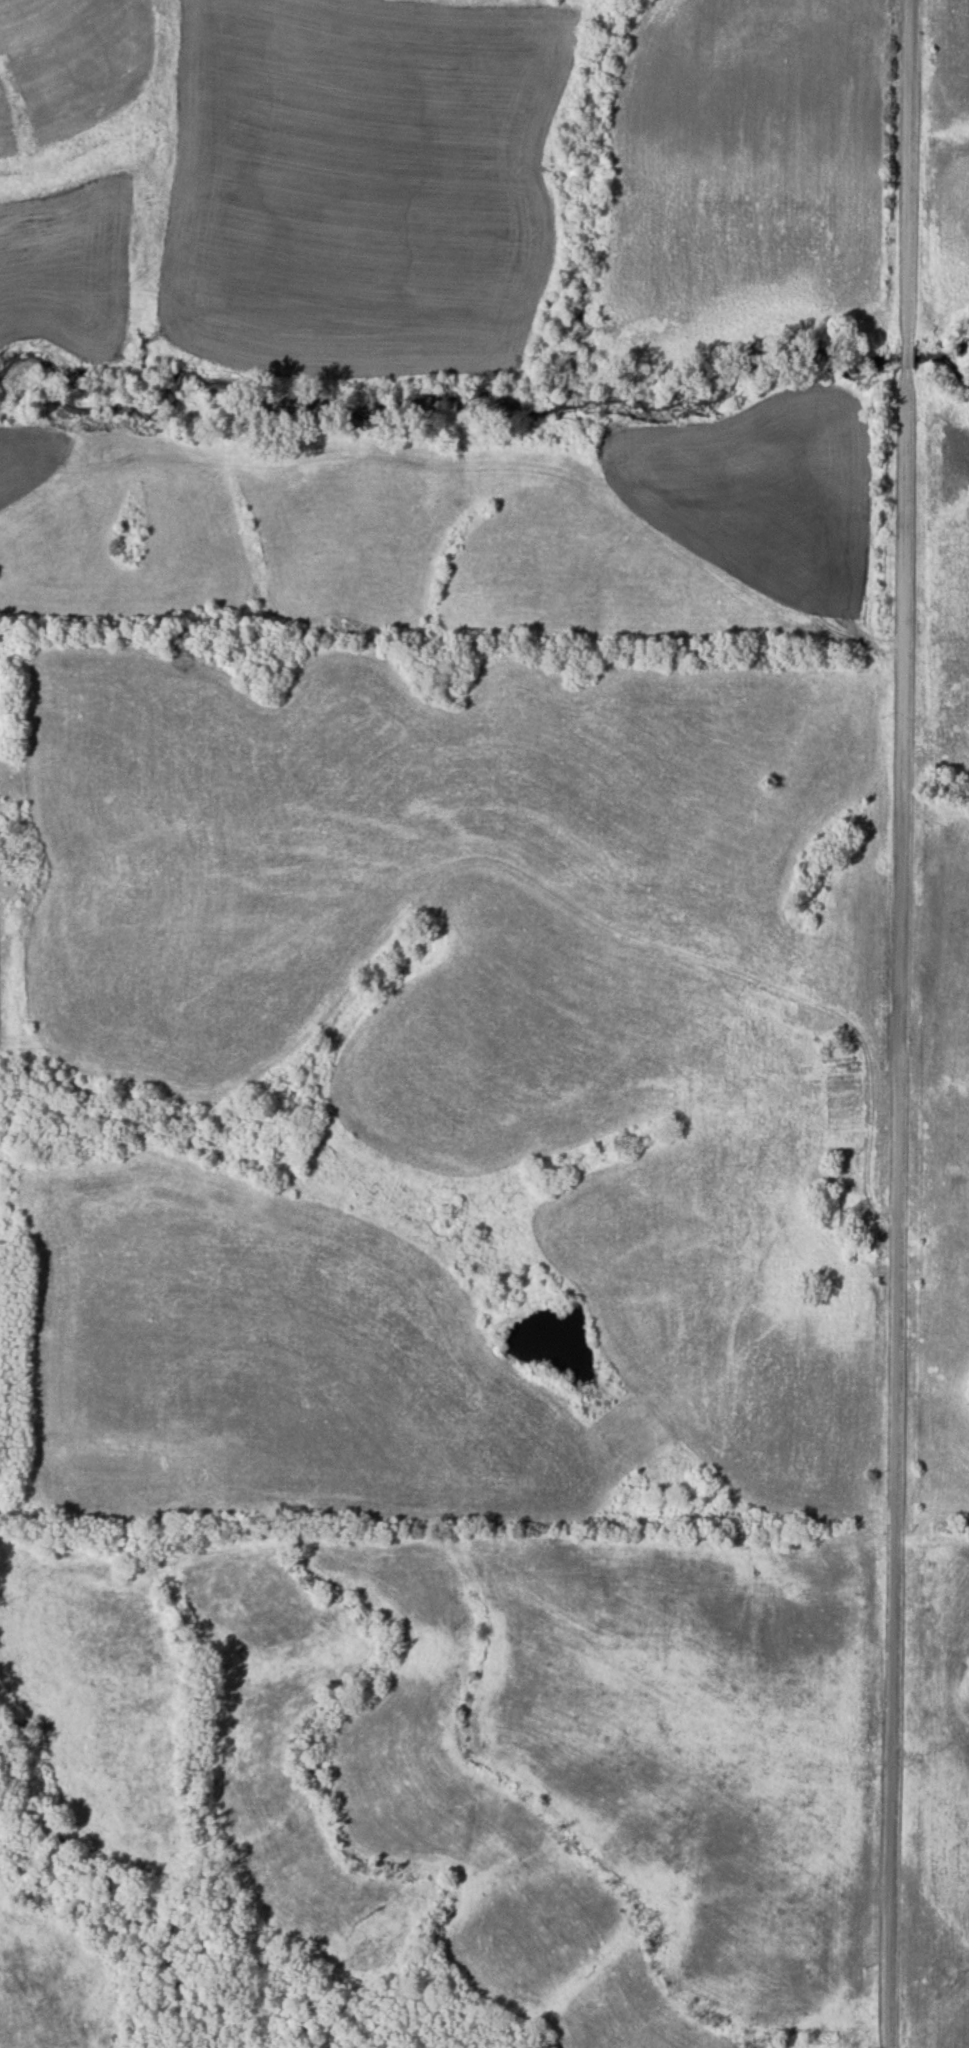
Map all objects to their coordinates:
road: (892, 1023)

